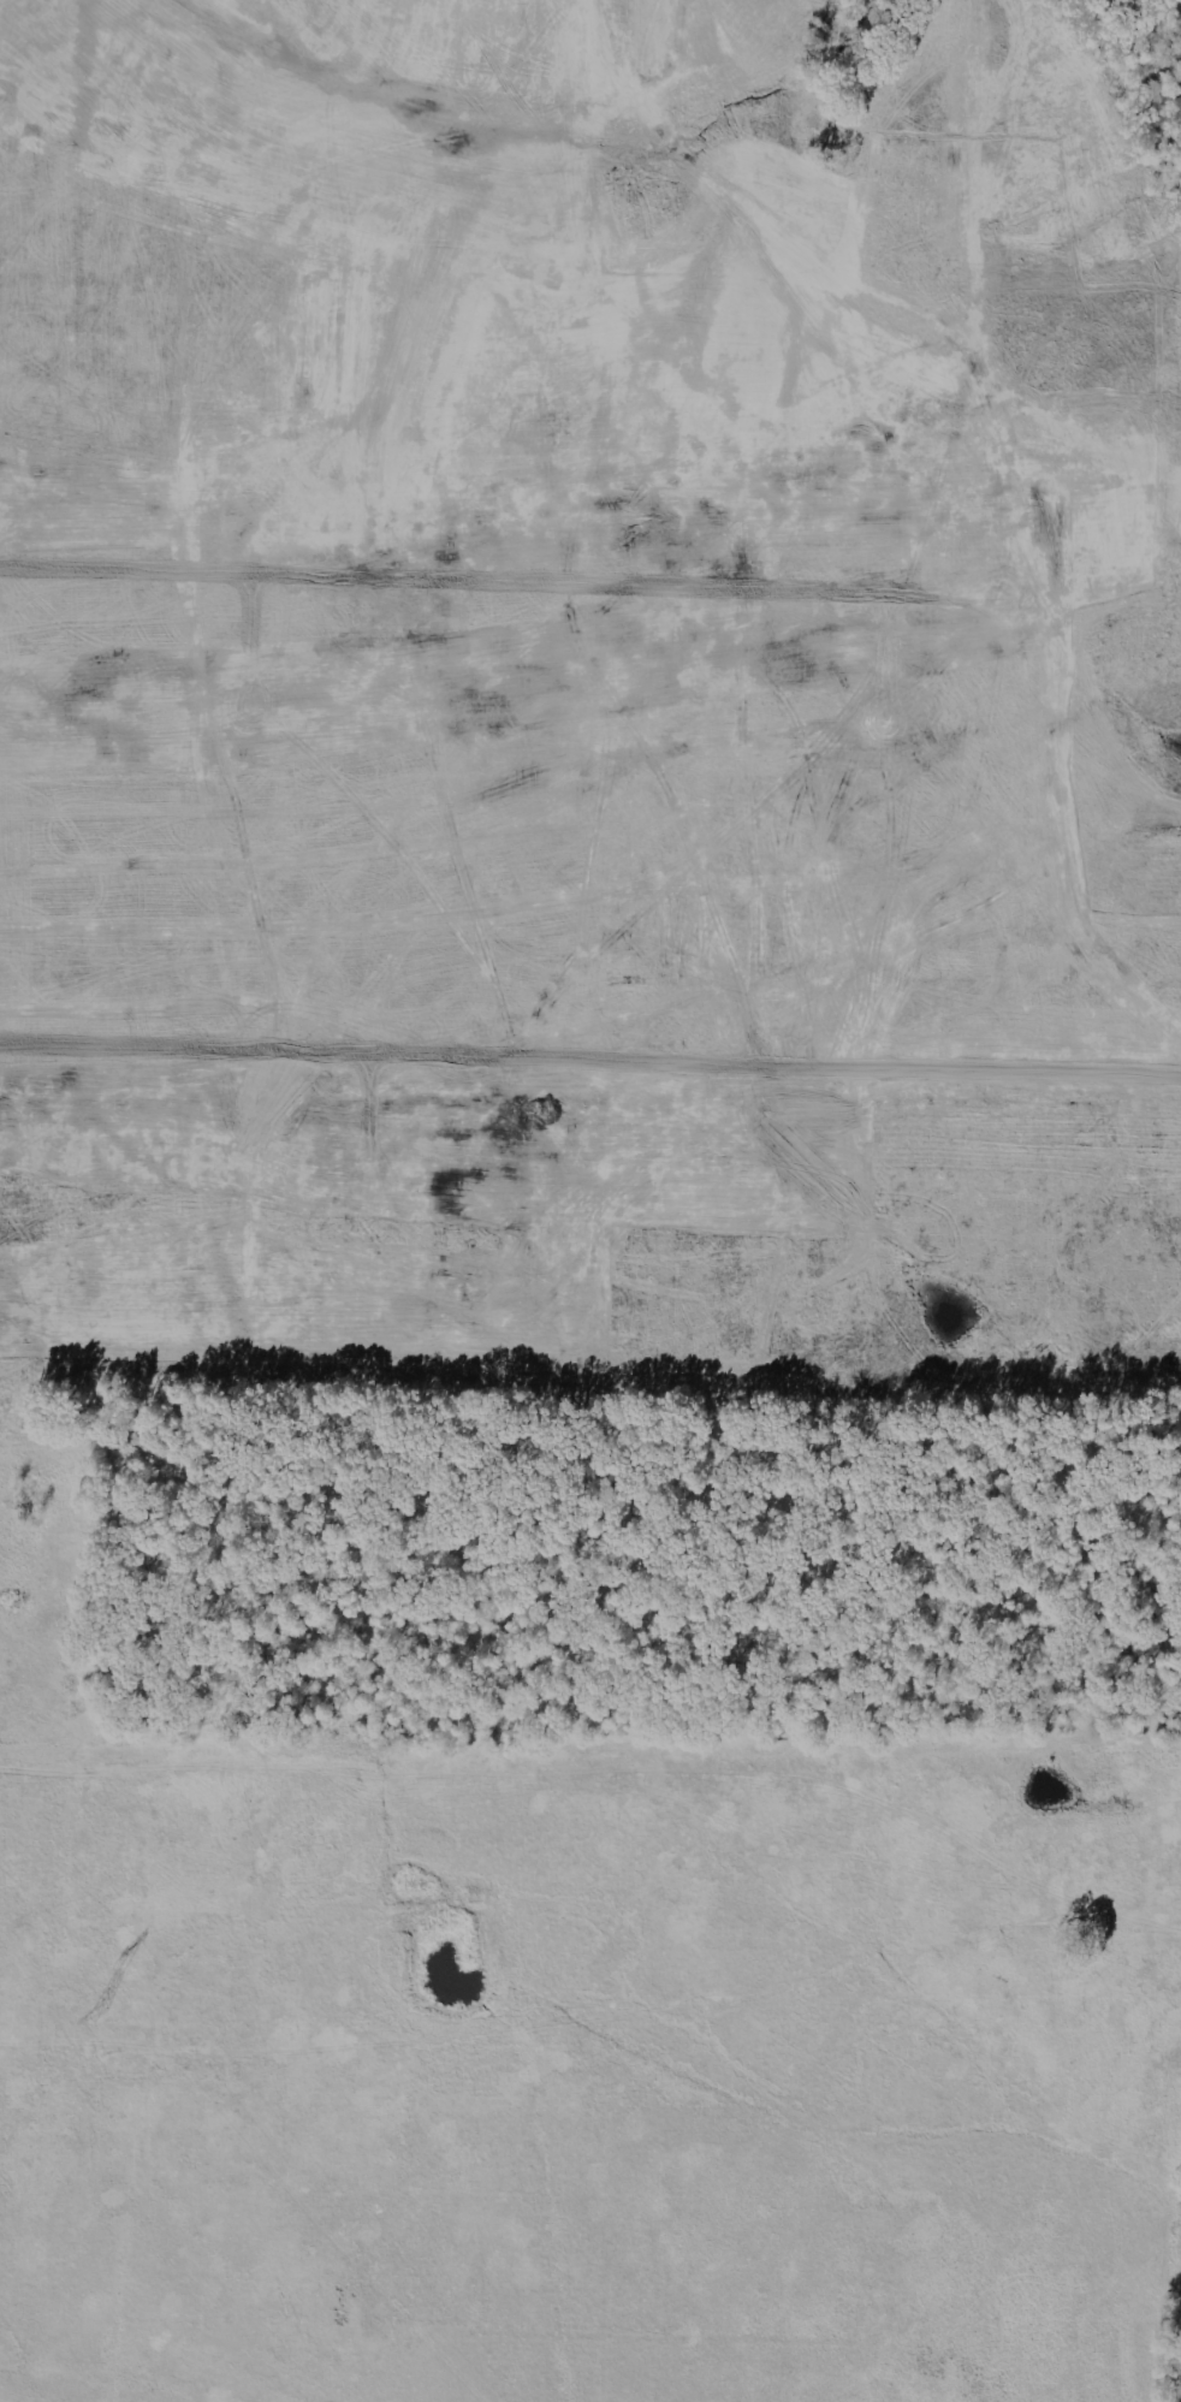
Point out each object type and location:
power tower: (97, 2013)

